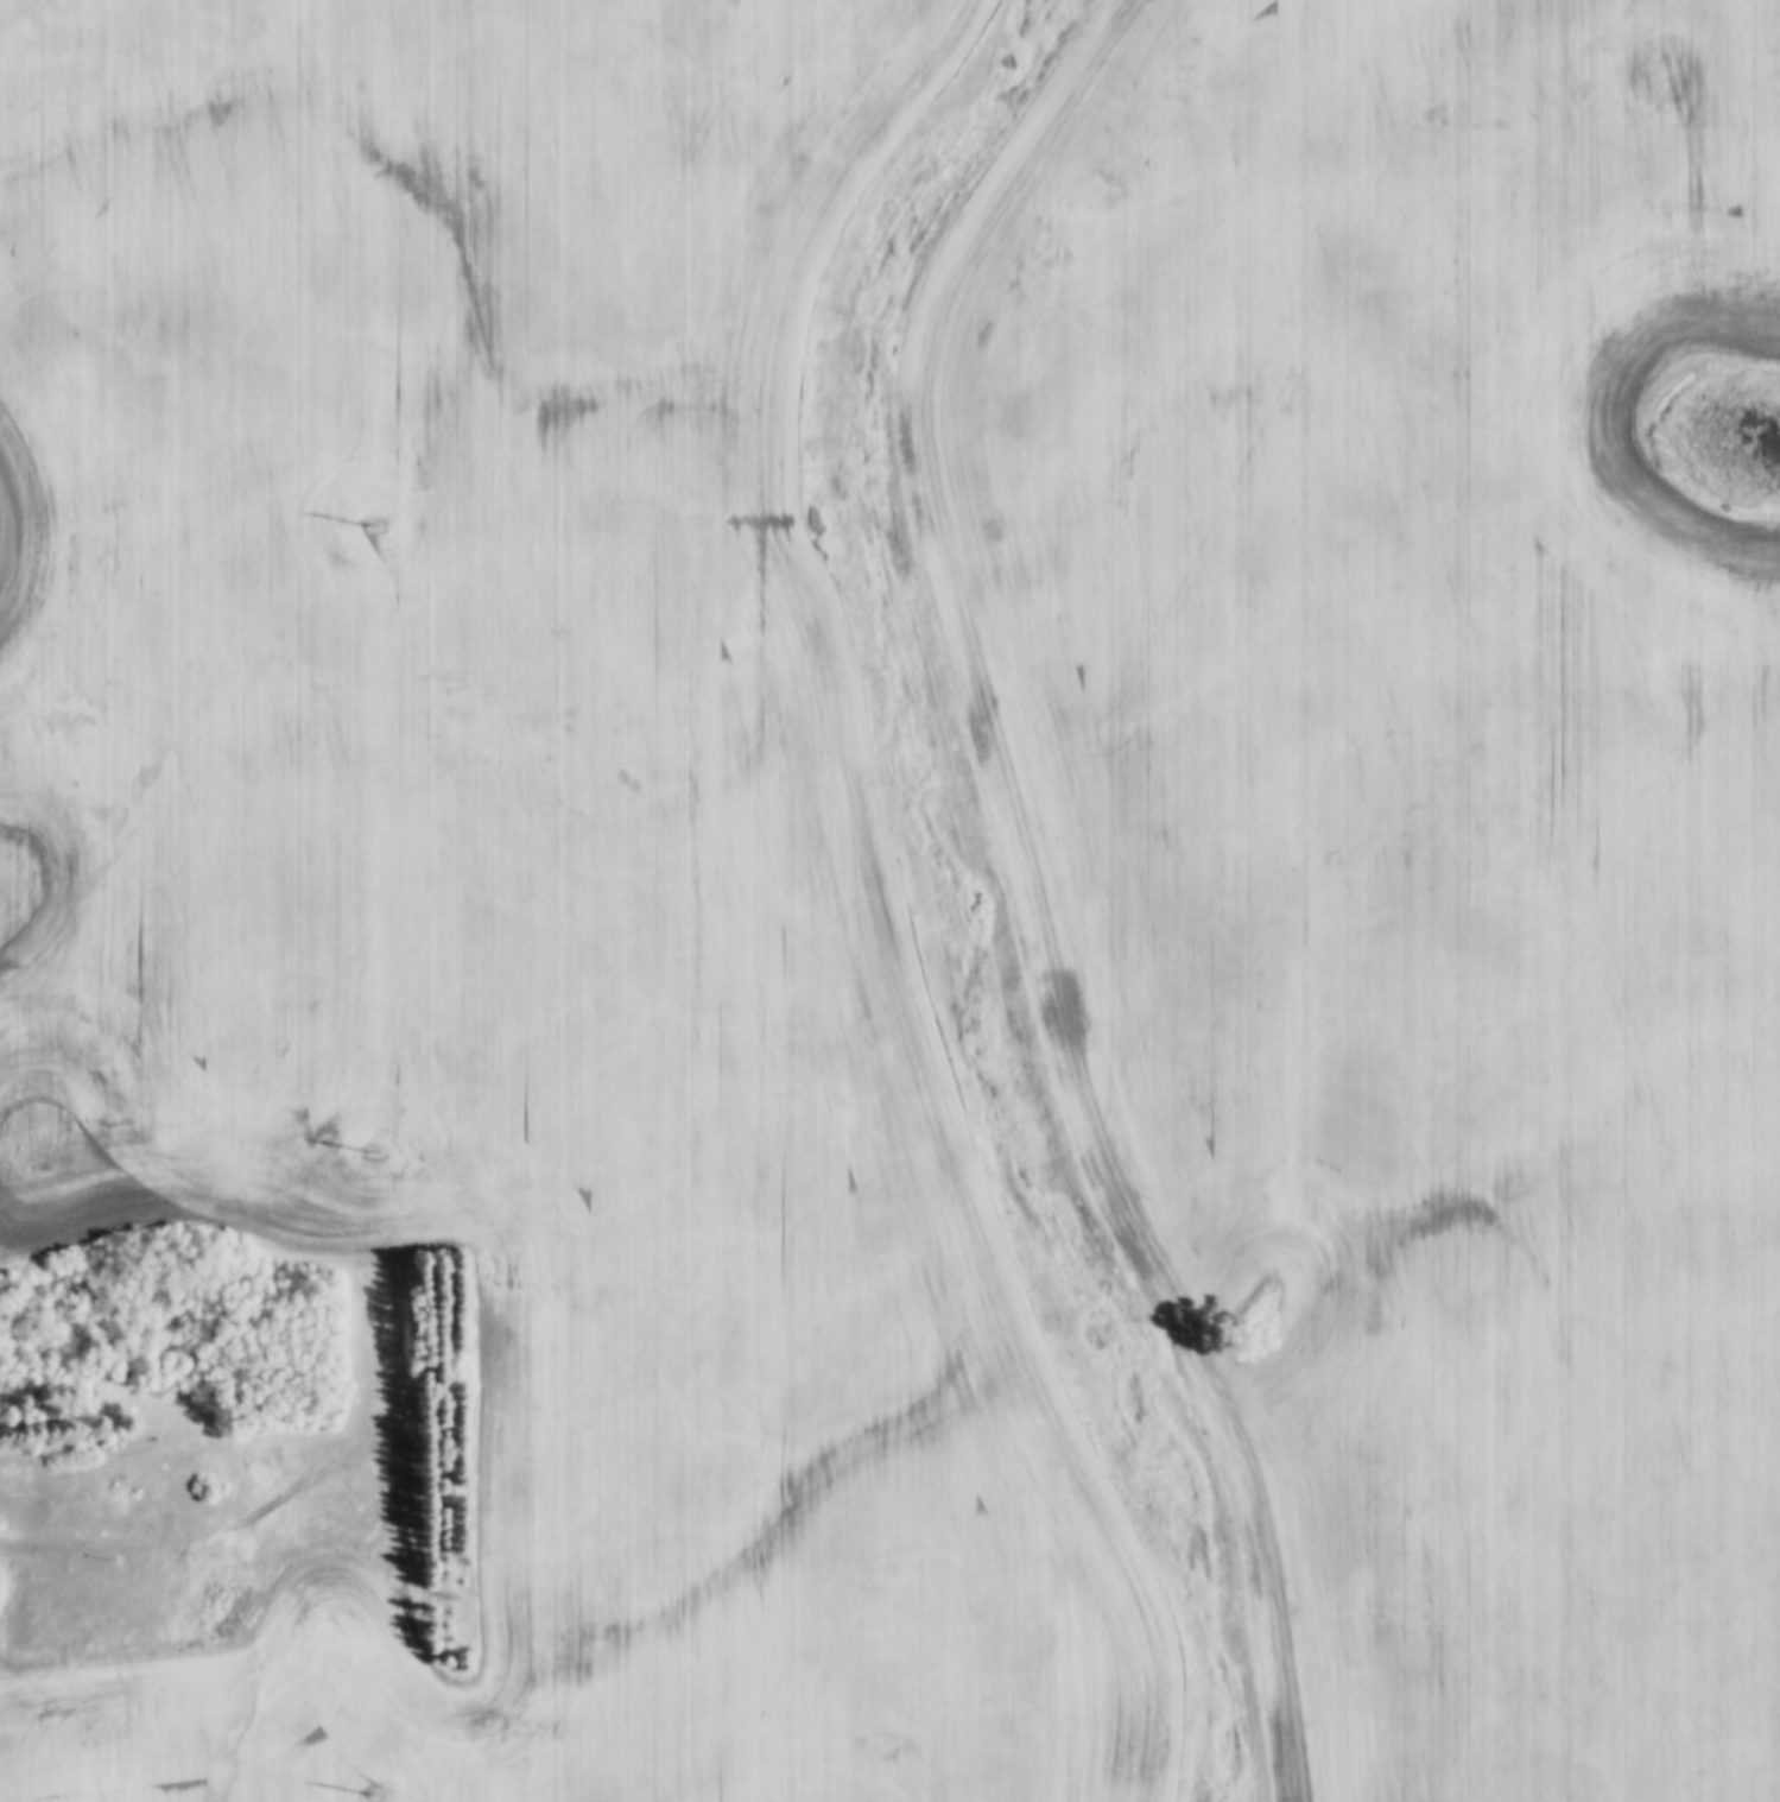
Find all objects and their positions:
building: (393, 1431)
building: (398, 1458)
silo: (398, 1458)
building: (399, 1471)
building: (398, 1482)
silo: (398, 1482)
building: (400, 1494)
building: (399, 1505)
silo: (399, 1505)
road: (46, 1542)
building: (222, 1601)

